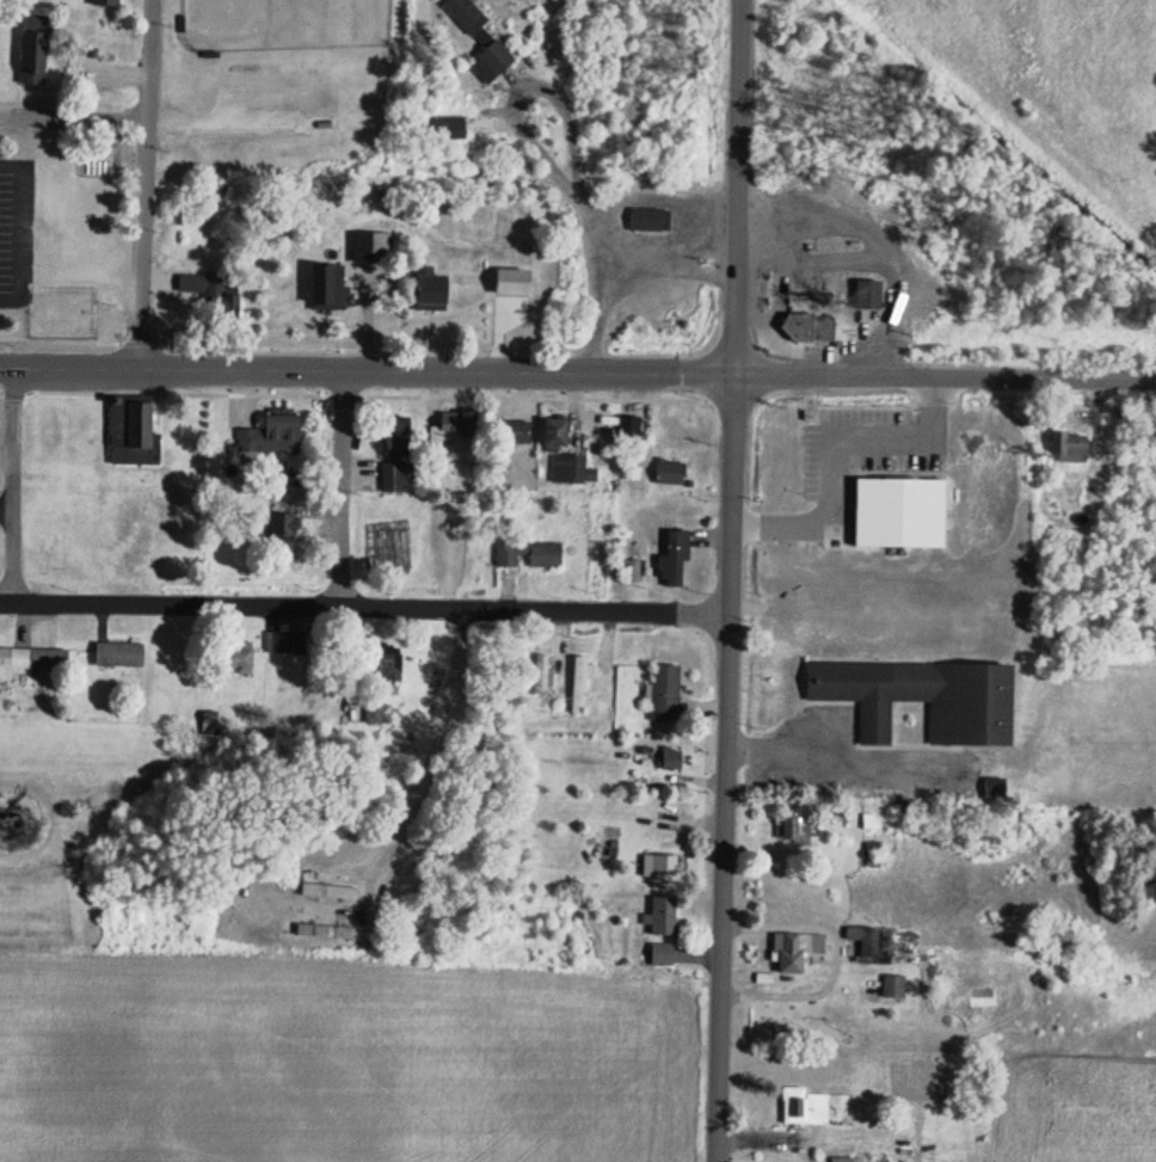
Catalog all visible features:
building: (110, 4)
park: (284, 25)
building: (485, 41)
building: (37, 53)
road: (75, 117)
building: (453, 128)
road: (148, 185)
road: (743, 187)
building: (652, 219)
building: (373, 247)
building: (518, 283)
building: (334, 289)
building: (438, 291)
building: (63, 313)
building: (813, 327)
road: (577, 374)
building: (459, 428)
building: (632, 429)
building: (516, 434)
building: (134, 435)
building: (277, 437)
building: (561, 437)
building: (401, 441)
building: (1060, 442)
building: (574, 472)
building: (674, 474)
building: (396, 479)
road: (10, 481)
road: (339, 485)
building: (510, 557)
building: (548, 557)
building: (678, 560)
road: (367, 600)
building: (281, 643)
building: (122, 654)
building: (242, 657)
building: (32, 660)
building: (387, 660)
building: (583, 683)
building: (669, 693)
building: (929, 697)
building: (379, 712)
building: (675, 760)
road: (728, 768)
road: (416, 805)
building: (800, 831)
building: (662, 865)
building: (396, 889)
building: (333, 891)
building: (668, 916)
building: (330, 932)
building: (874, 943)
building: (798, 951)
building: (668, 955)
building: (896, 986)
crop: (1070, 1103)
building: (807, 1108)

